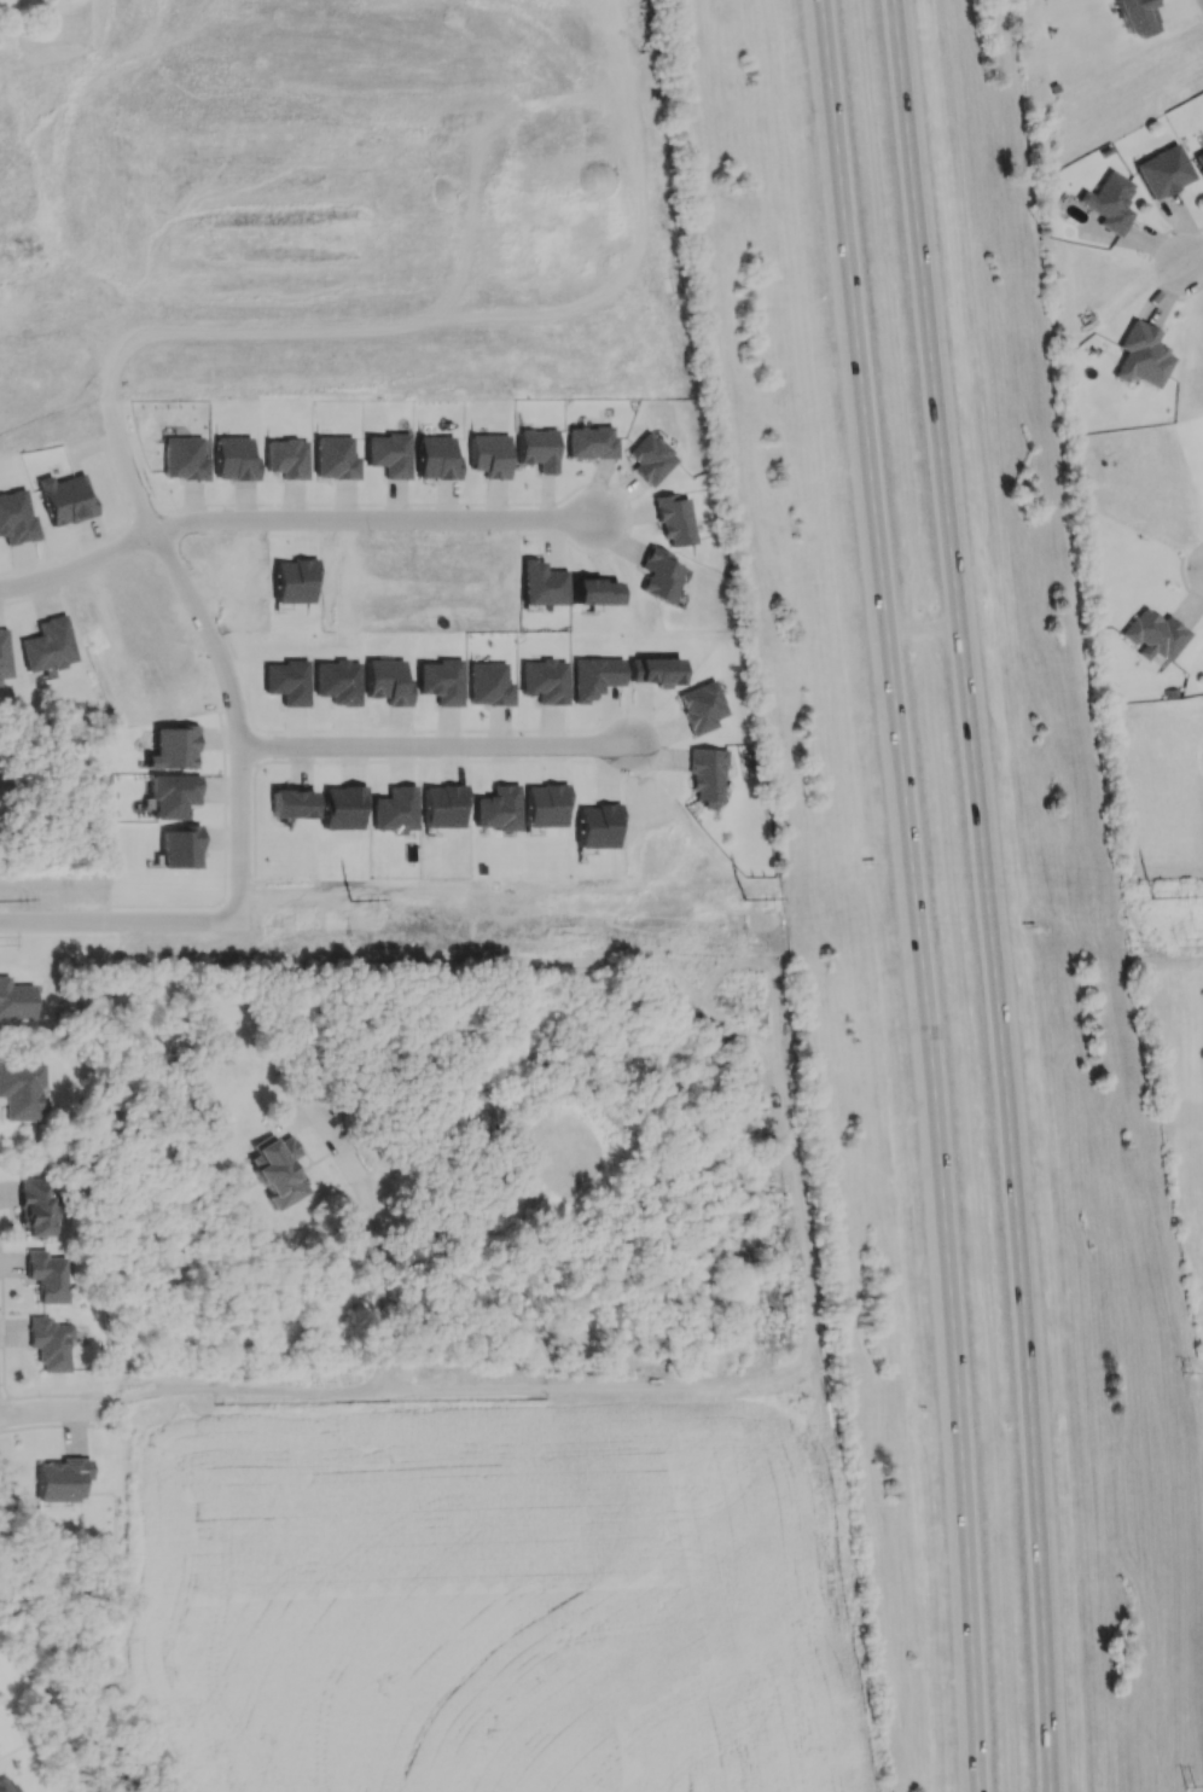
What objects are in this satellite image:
building: (1137, 16)
road: (324, 56)
building: (1199, 159)
building: (1163, 171)
building: (1110, 202)
road: (1195, 260)
road: (335, 281)
road: (53, 308)
building: (1141, 355)
building: (591, 442)
building: (537, 448)
building: (389, 454)
building: (489, 455)
building: (286, 458)
building: (335, 458)
building: (436, 458)
building: (184, 459)
building: (234, 459)
building: (650, 459)
road: (139, 495)
building: (65, 499)
building: (16, 517)
road: (377, 519)
building: (674, 520)
road: (80, 565)
building: (658, 574)
building: (541, 584)
building: (593, 592)
road: (920, 627)
building: (1155, 634)
building: (47, 645)
building: (4, 654)
building: (655, 671)
building: (594, 676)
building: (544, 680)
building: (387, 681)
building: (440, 681)
building: (488, 685)
building: (703, 706)
road: (436, 746)
building: (173, 749)
building: (707, 774)
building: (172, 796)
building: (292, 804)
building: (180, 848)
road: (986, 894)
road: (911, 895)
power tower: (1151, 904)
power tower: (743, 906)
power tower: (349, 907)
road: (120, 919)
power tower: (1193, 936)
power tower: (358, 941)
power tower: (752, 944)
building: (16, 1000)
building: (22, 1090)
building: (279, 1170)
building: (37, 1206)
building: (50, 1276)
building: (52, 1343)
power tower: (1191, 1373)
road: (342, 1390)
road: (42, 1395)
road: (45, 1412)
building: (58, 1479)
power tower: (1190, 1785)
building: (7, 1788)

